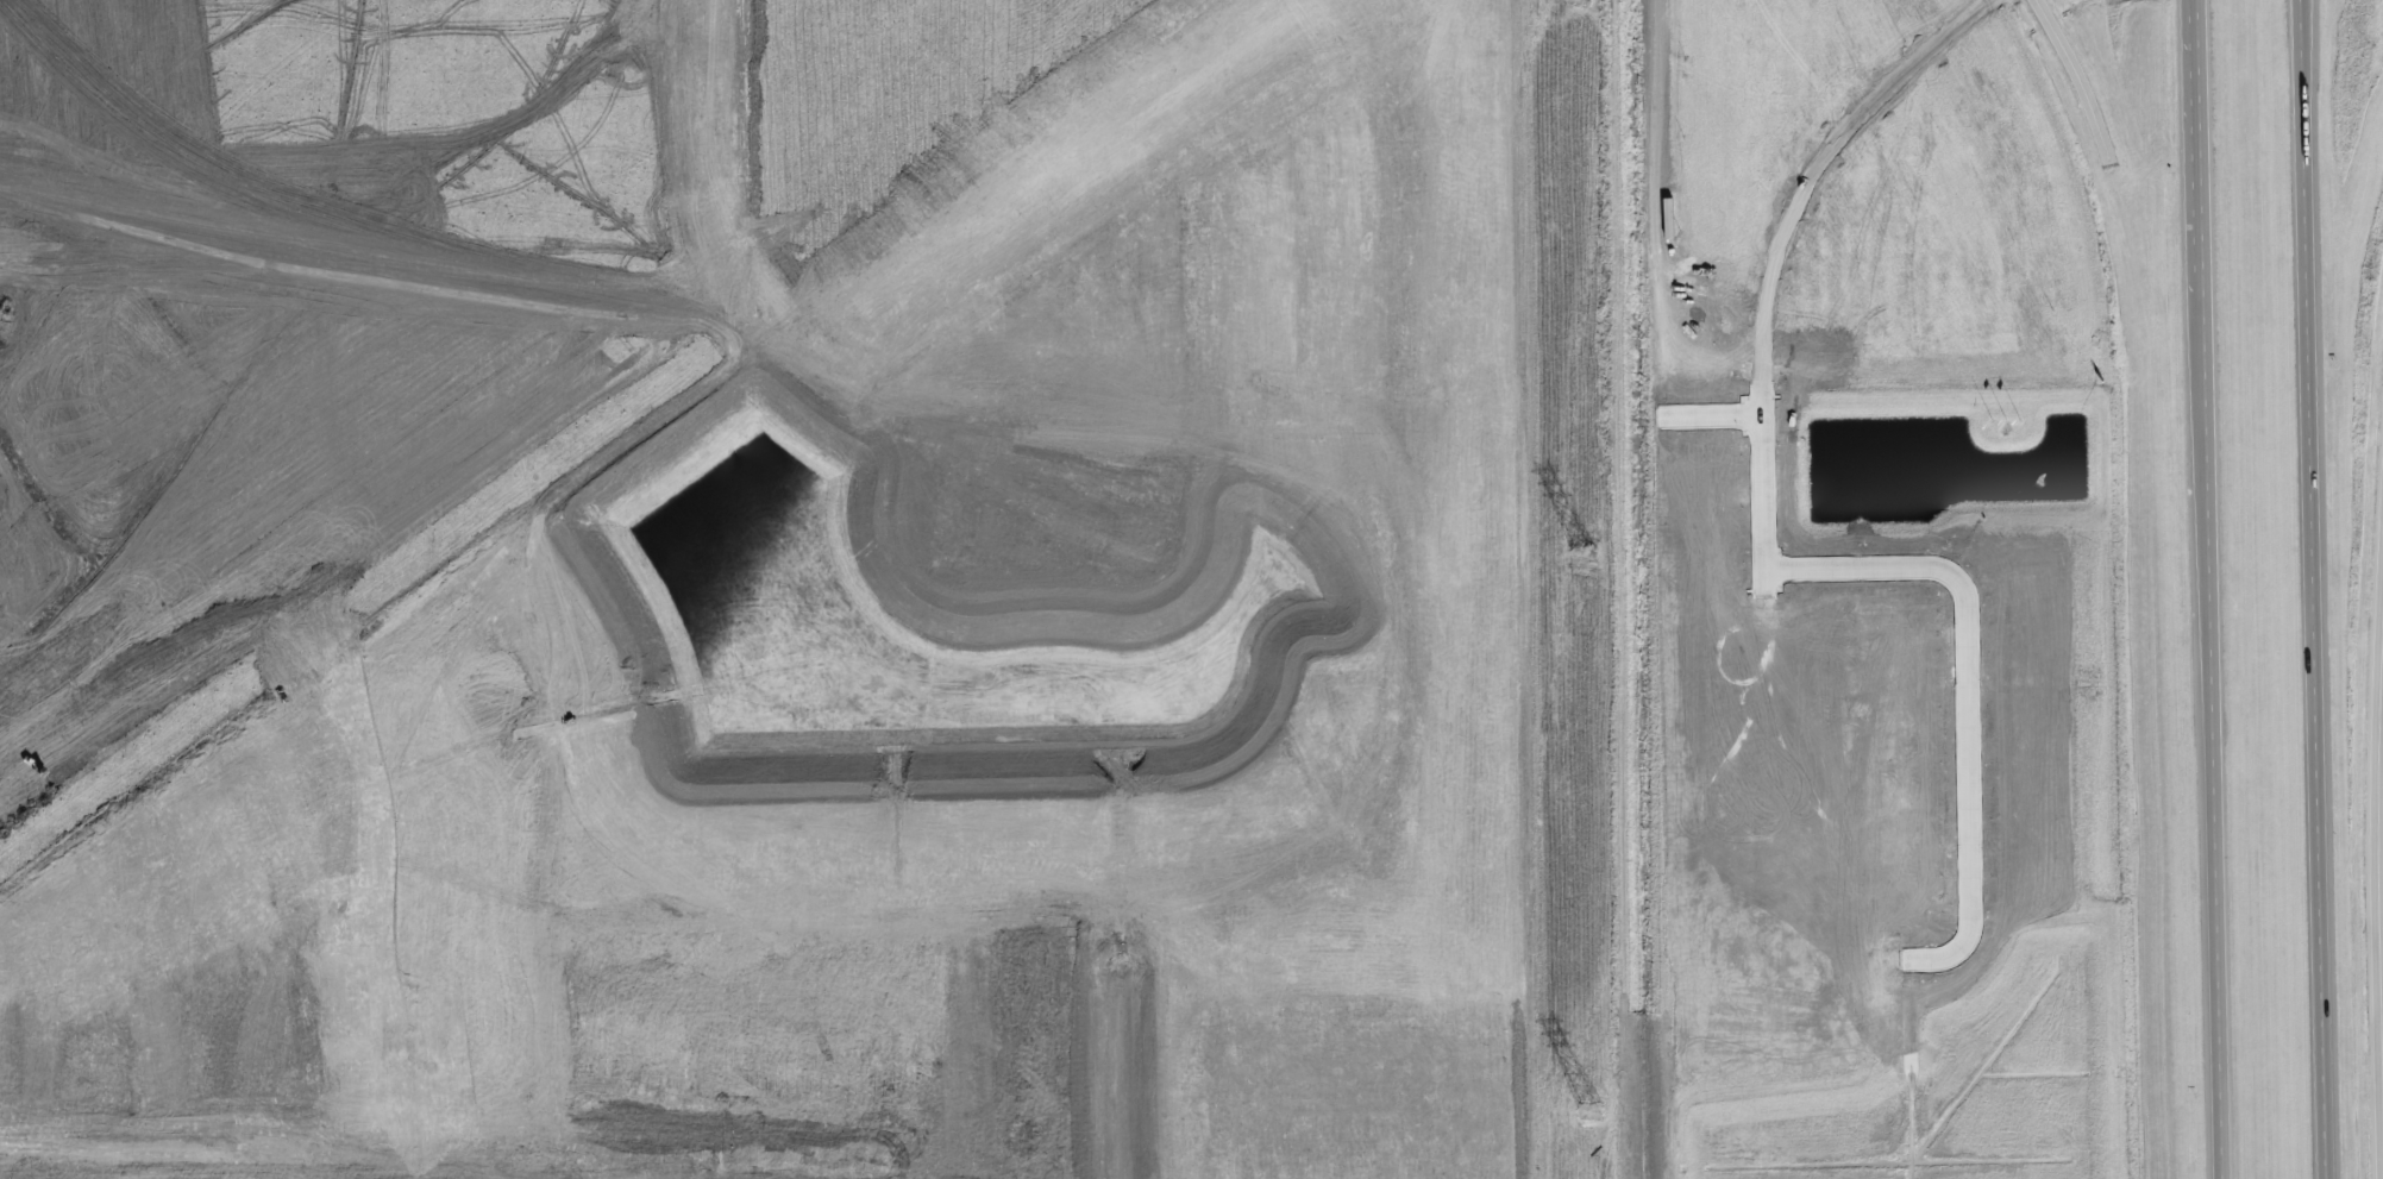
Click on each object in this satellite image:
road: (2077, 80)
power tower: (1584, 553)
road: (2214, 589)
road: (2321, 589)
power tower: (1592, 1112)

